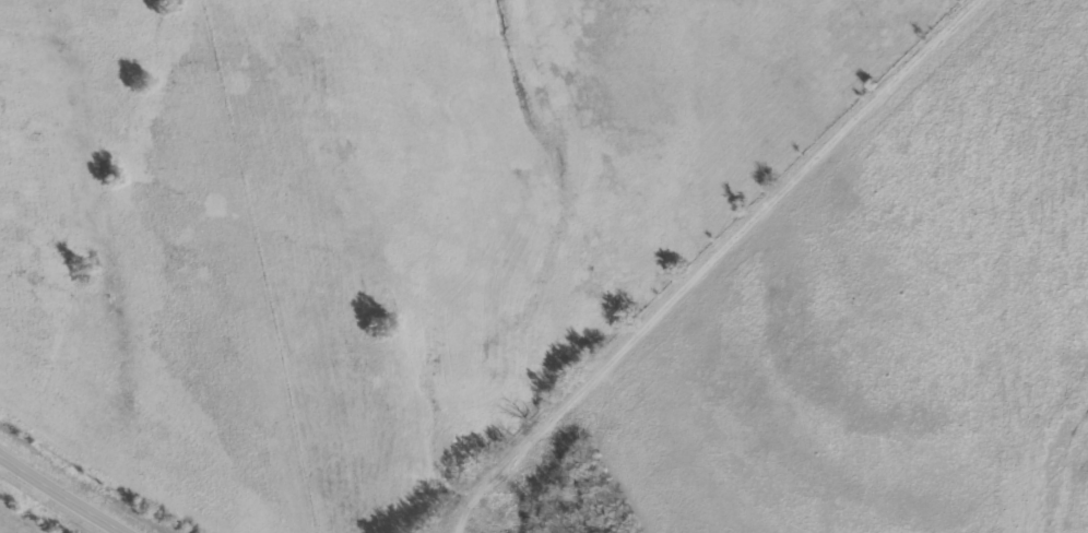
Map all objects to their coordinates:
road: (721, 265)
road: (60, 496)

